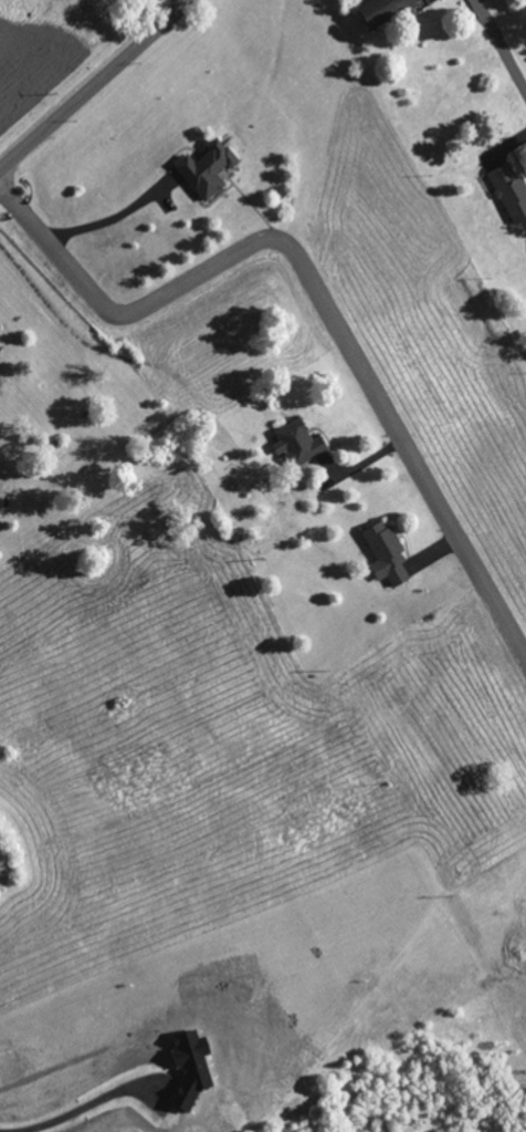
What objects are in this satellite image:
road: (188, 0)
building: (383, 9)
road: (502, 41)
road: (95, 85)
building: (207, 168)
building: (511, 190)
road: (59, 250)
road: (202, 271)
road: (407, 442)
building: (298, 443)
building: (386, 553)
building: (190, 1066)

